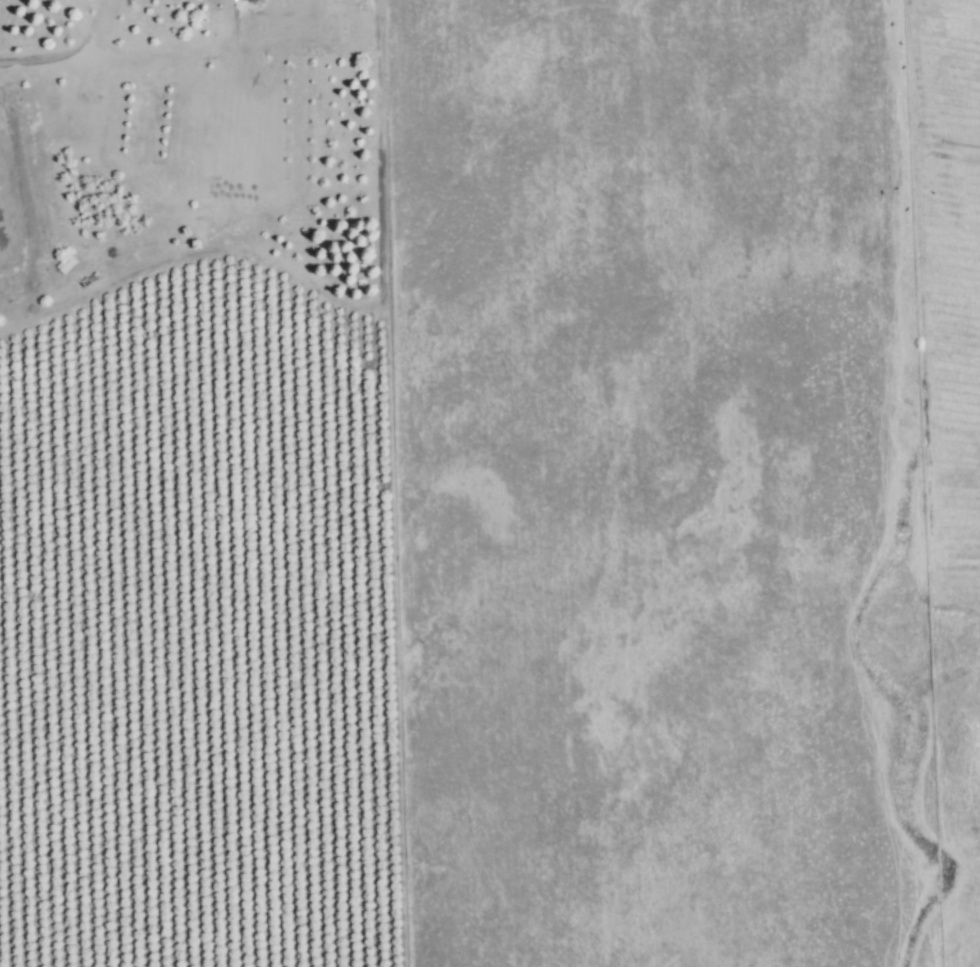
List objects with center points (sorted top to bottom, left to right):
building: (253, 0)
road: (100, 28)
road: (124, 54)
road: (334, 322)
building: (88, 363)
crop: (530, 527)

